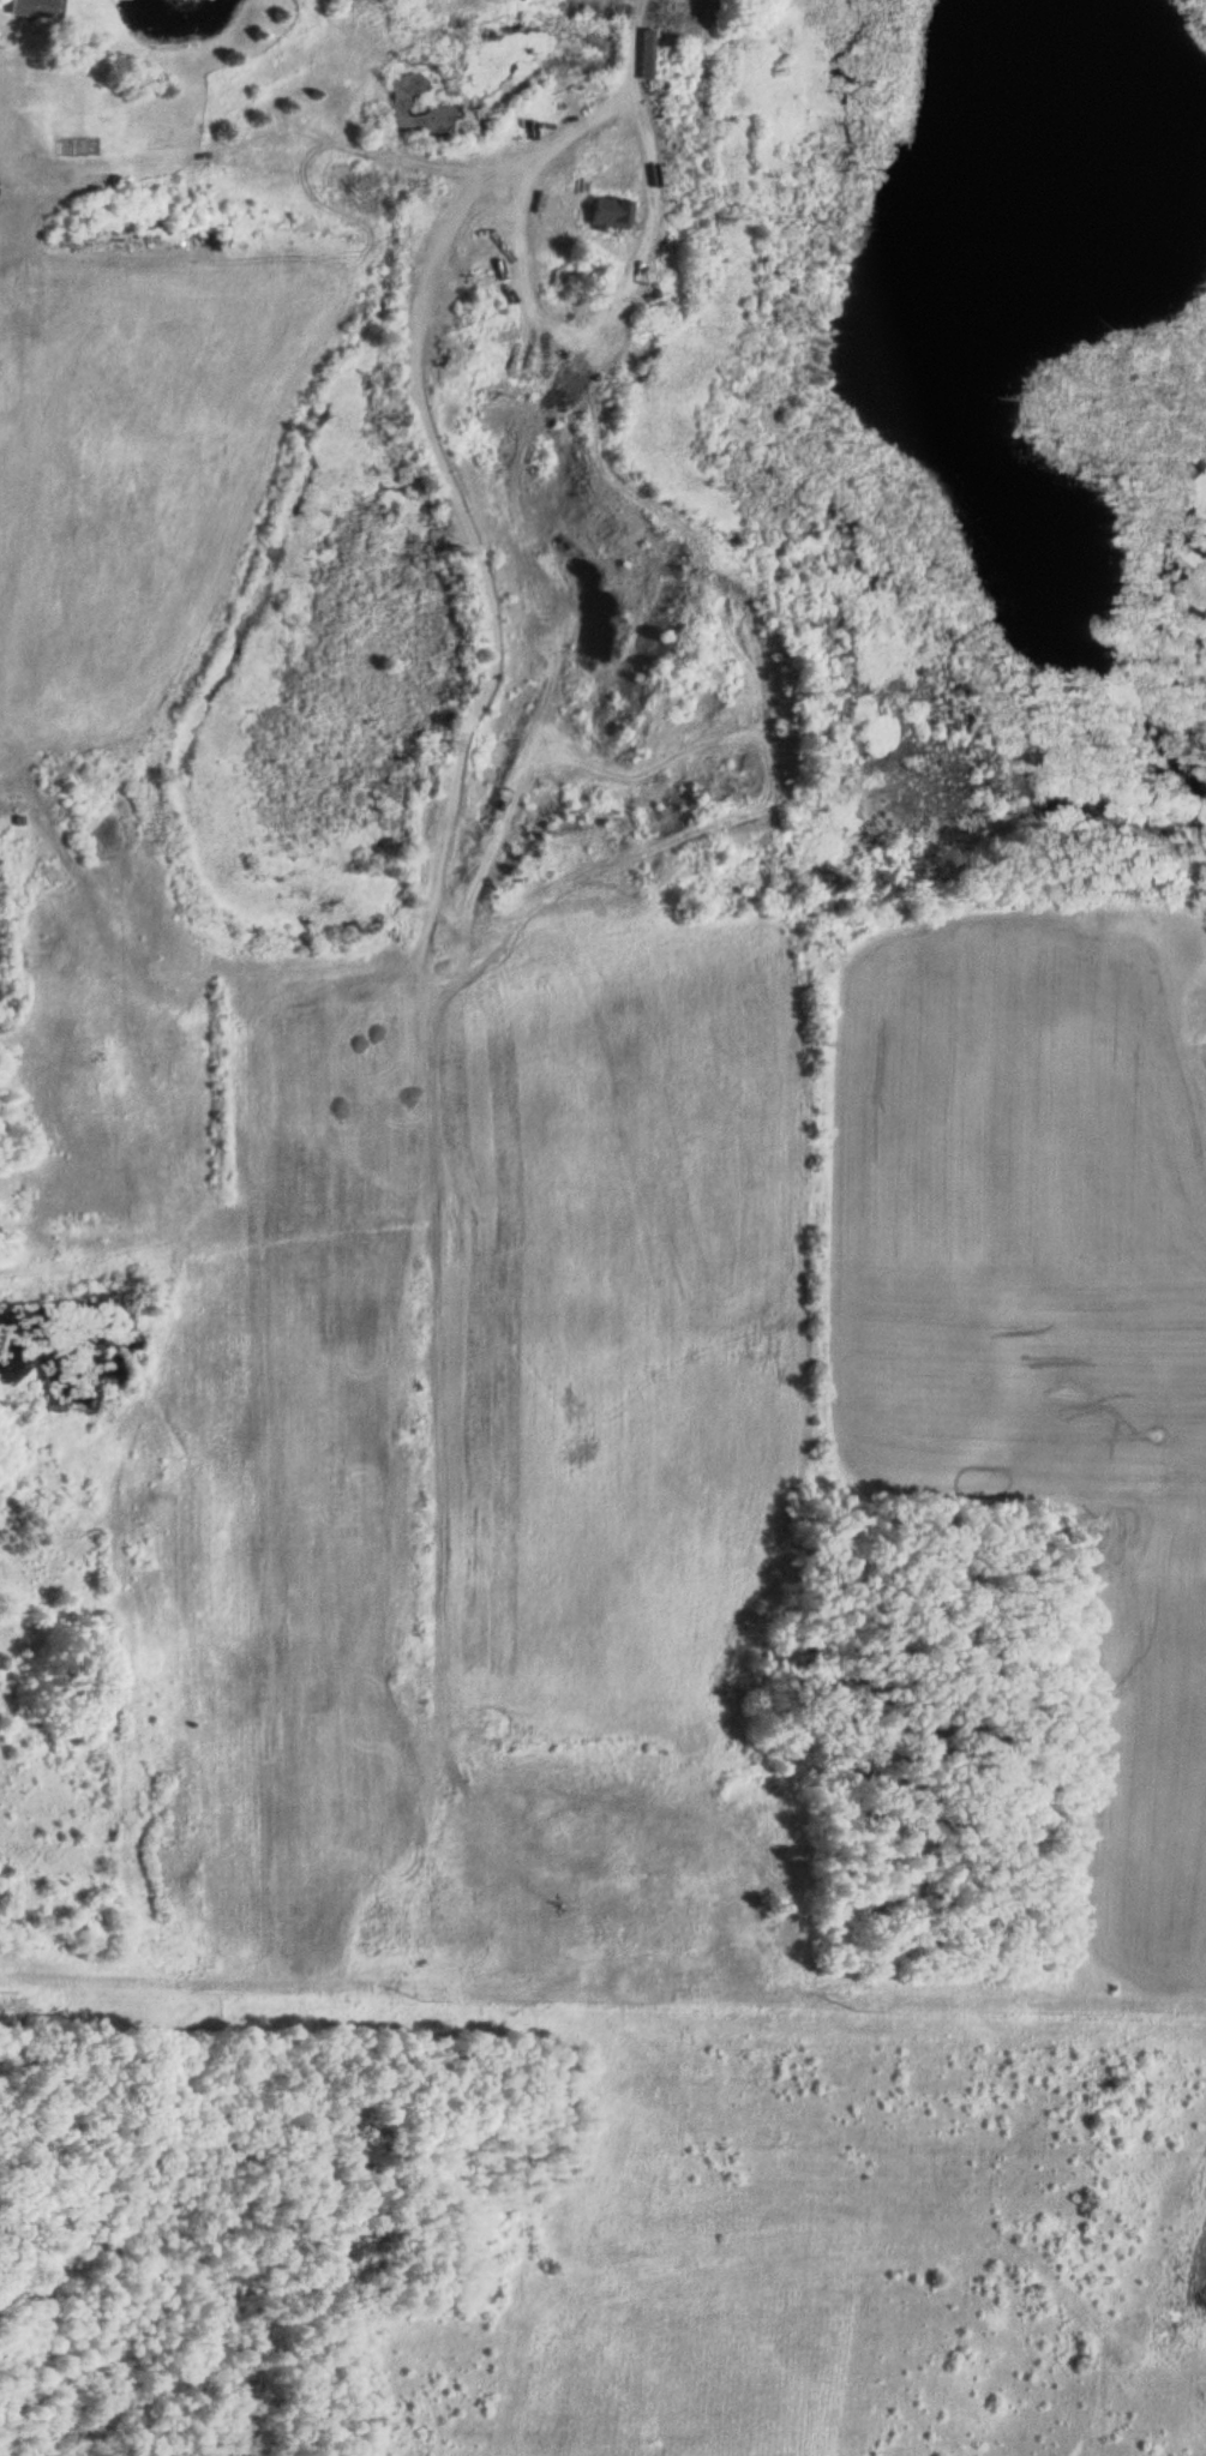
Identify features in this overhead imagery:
building: (23, 8)
building: (557, 311)
building: (497, 414)
building: (602, 462)

